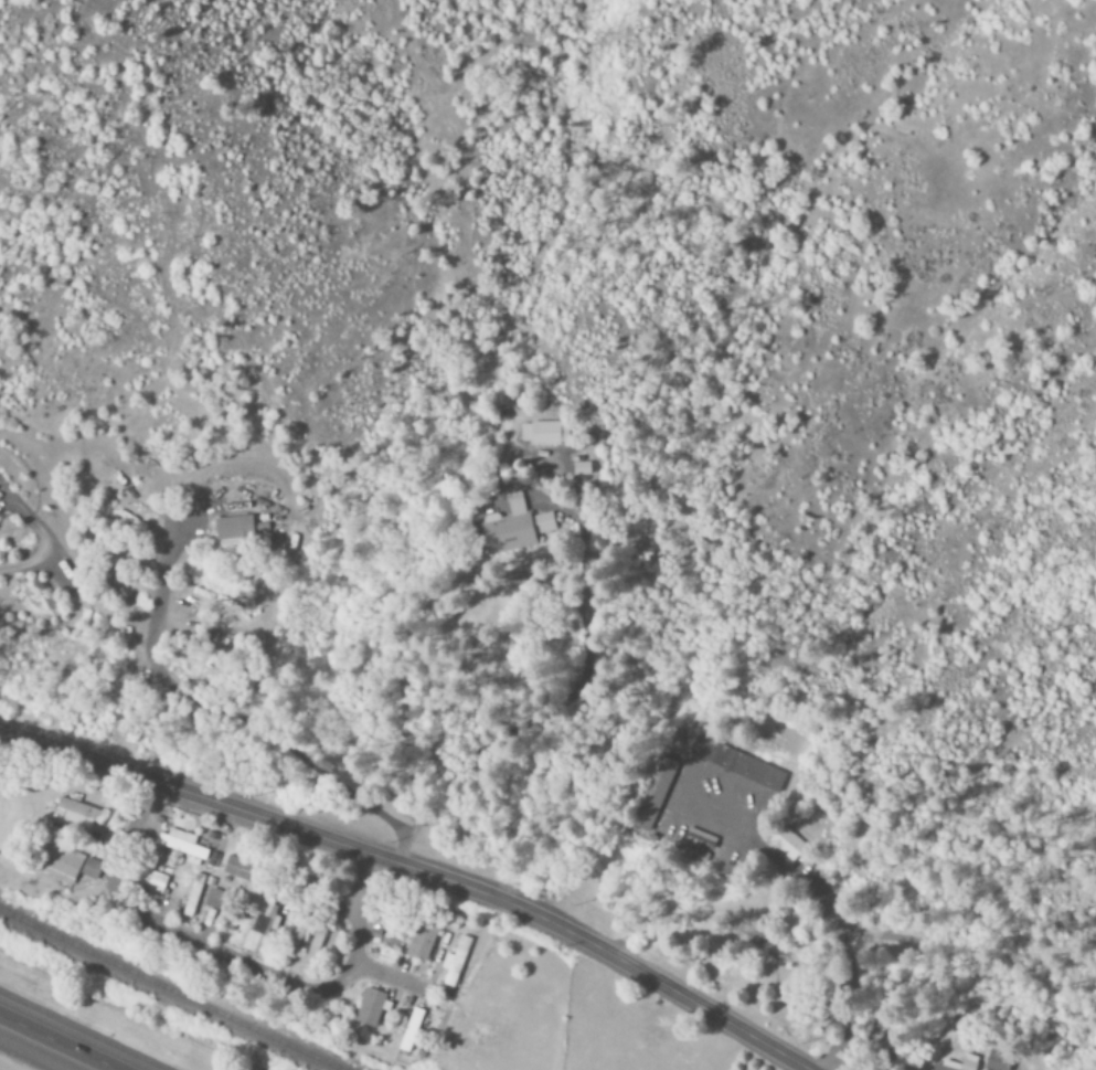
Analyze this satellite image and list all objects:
building: (540, 434)
building: (581, 467)
building: (515, 528)
building: (232, 529)
building: (737, 764)
building: (651, 794)
building: (75, 814)
building: (786, 843)
building: (182, 846)
building: (66, 864)
road: (415, 868)
building: (236, 869)
building: (153, 882)
building: (193, 896)
building: (213, 899)
building: (260, 932)
building: (306, 941)
building: (421, 943)
road: (215, 950)
building: (455, 964)
railway: (159, 995)
building: (371, 1008)
road: (57, 1042)
building: (998, 1061)
building: (970, 1063)

